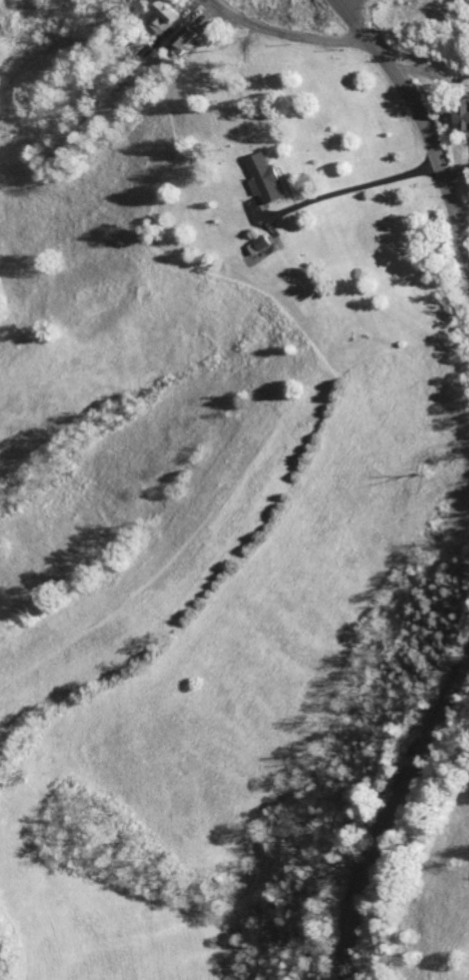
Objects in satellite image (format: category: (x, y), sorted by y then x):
building: (166, 16)
road: (352, 18)
road: (286, 34)
building: (187, 40)
building: (149, 52)
building: (466, 114)
road: (429, 137)
building: (267, 178)
building: (263, 245)
road: (392, 817)

